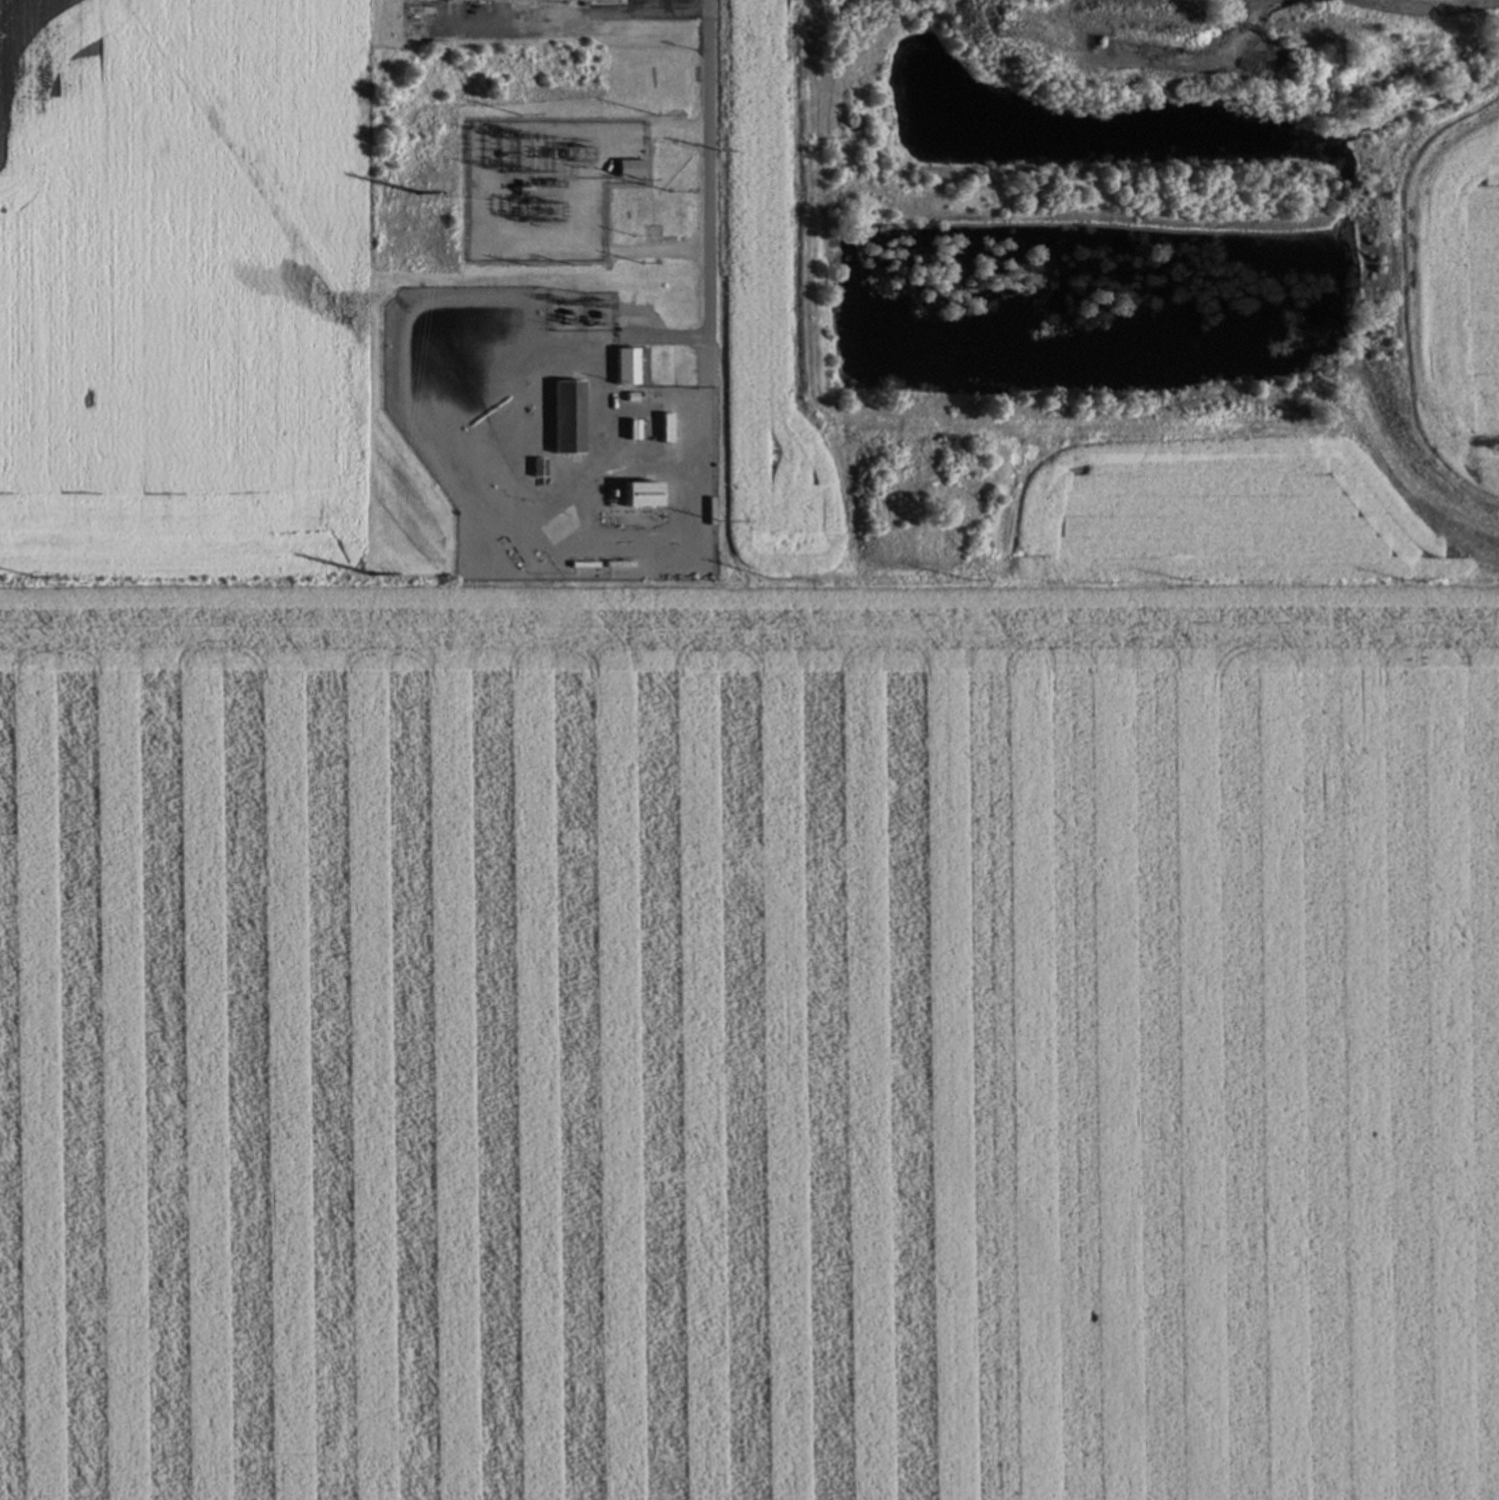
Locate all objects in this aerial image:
power tower: (515, 136)
power tower: (486, 154)
road: (708, 168)
power substation: (536, 189)
power tower: (402, 193)
power tower: (509, 205)
building: (596, 220)
crop: (183, 295)
power substation: (582, 310)
building: (624, 365)
building: (565, 416)
building: (663, 427)
building: (537, 468)
building: (636, 495)
crop: (749, 1045)

